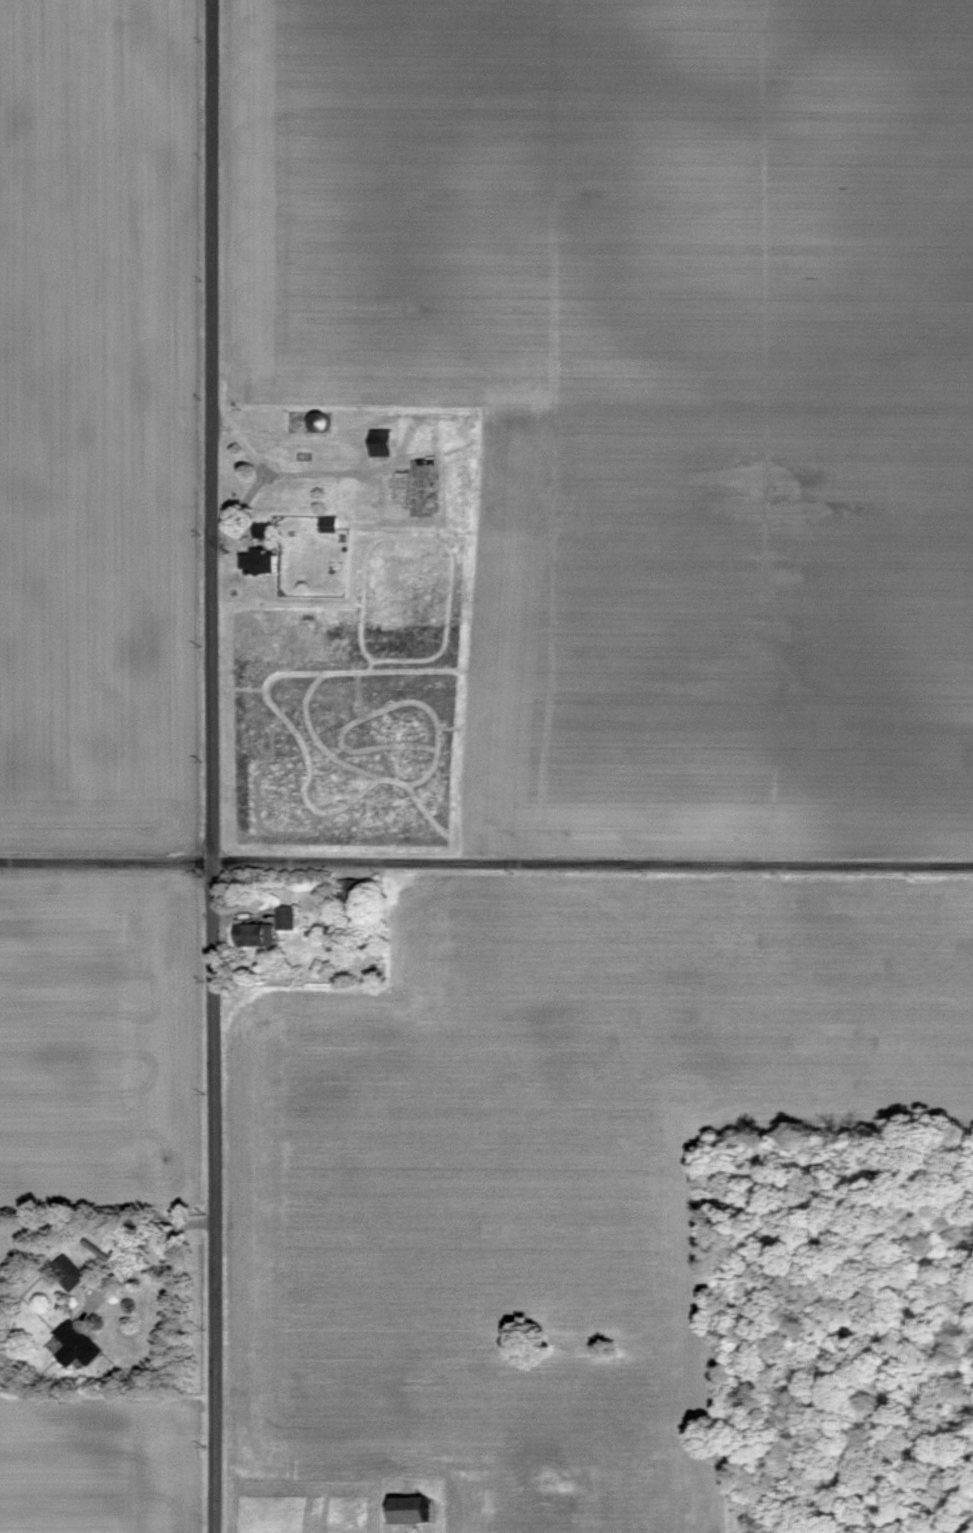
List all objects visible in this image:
building: (300, 420)
building: (321, 421)
building: (381, 442)
building: (403, 487)
building: (263, 562)
road: (211, 766)
road: (486, 864)
building: (350, 891)
building: (286, 918)
building: (253, 935)
road: (151, 1246)
building: (68, 1273)
building: (77, 1344)
building: (413, 1510)

